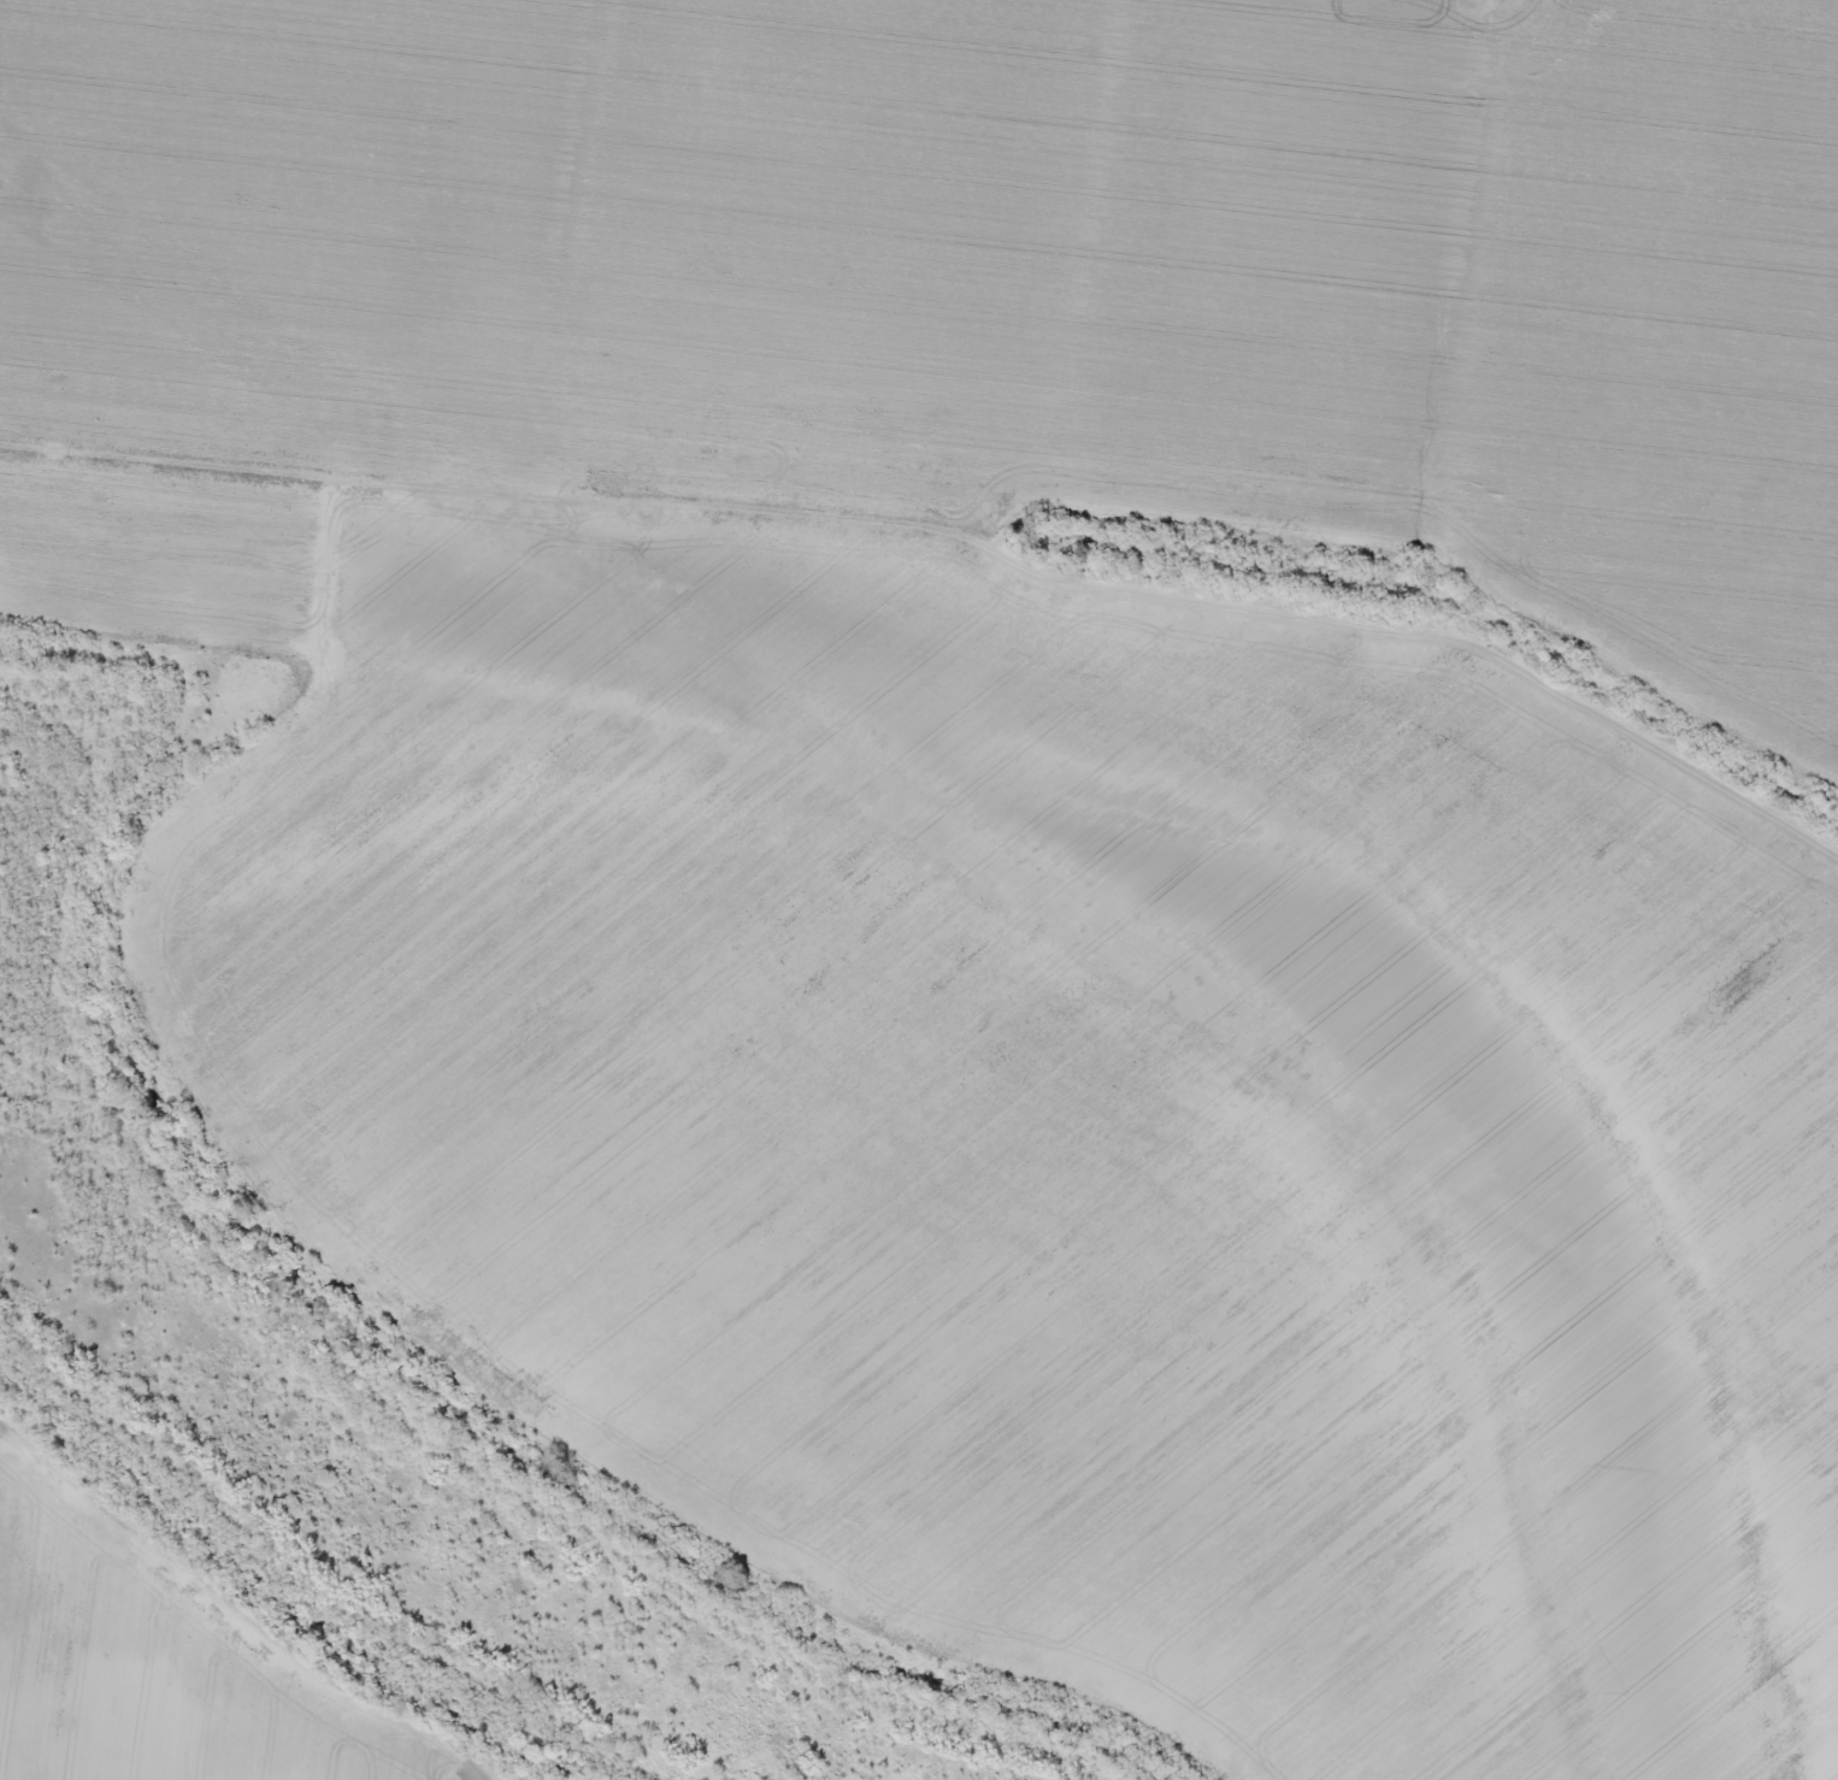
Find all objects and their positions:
river: (383, 1502)

